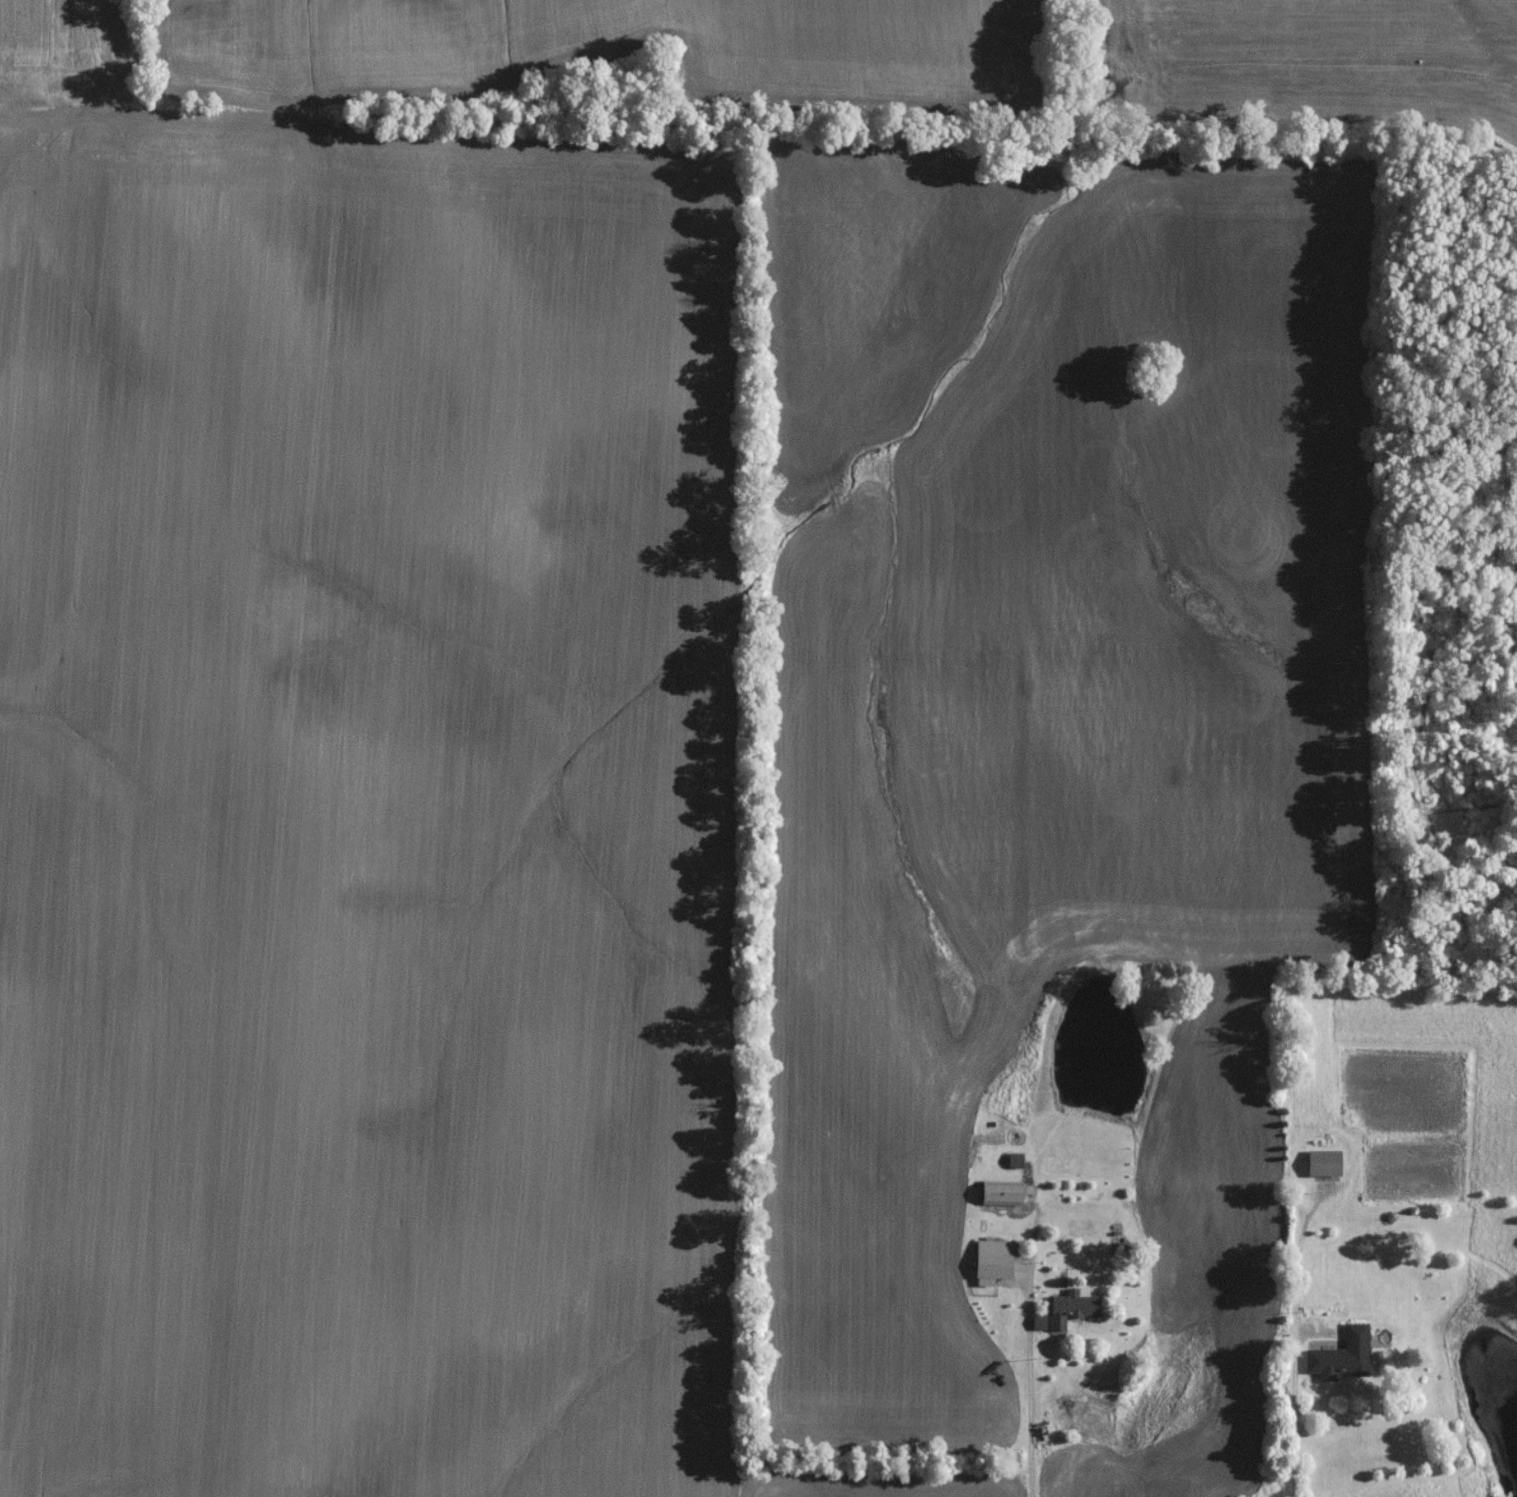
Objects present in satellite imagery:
building: (1017, 1163)
building: (1326, 1166)
building: (1003, 1197)
building: (995, 1263)
building: (1074, 1312)
building: (1358, 1340)
road: (1295, 1344)
road: (1035, 1404)

